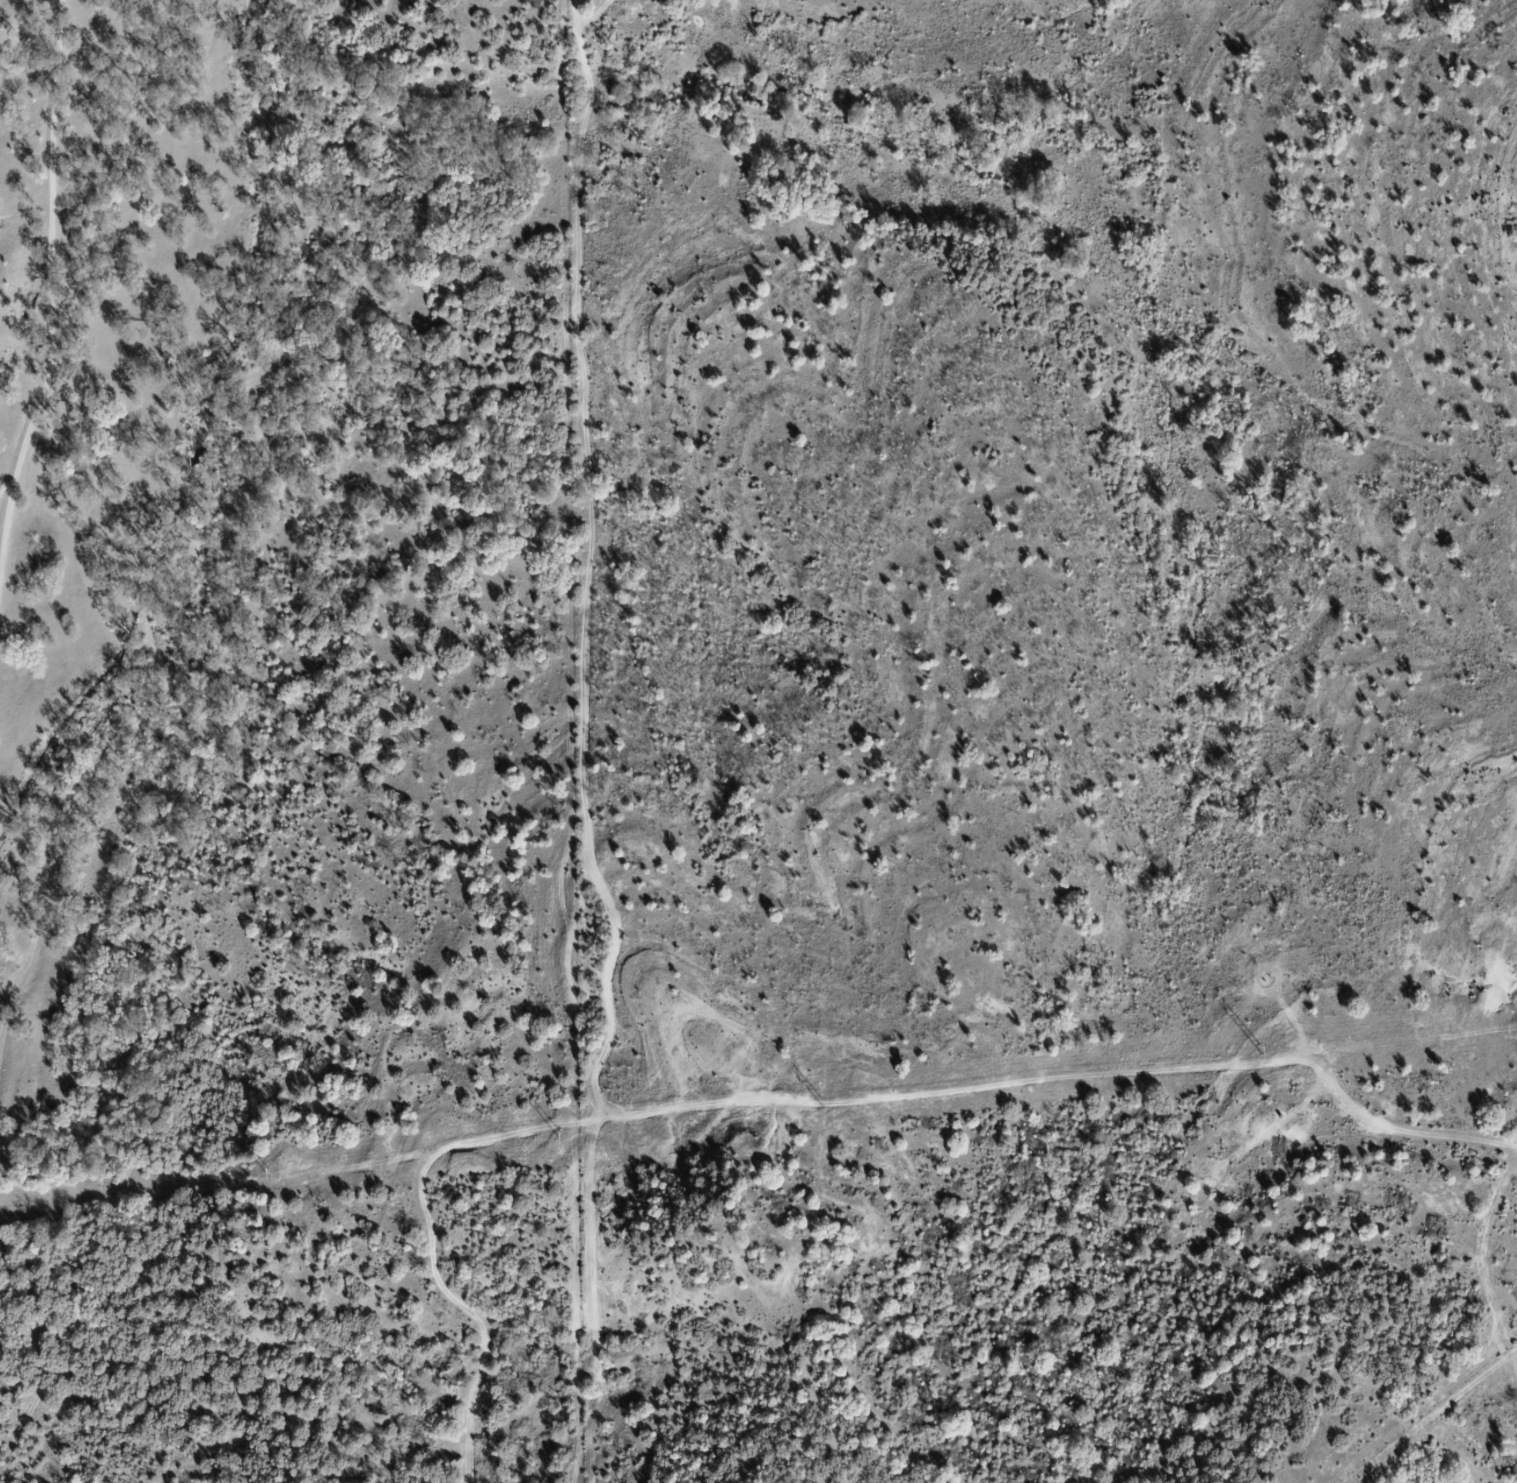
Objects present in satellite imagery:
road: (52, 306)
power tower: (1265, 1049)
power tower: (826, 1102)
power tower: (566, 1135)
power tower: (272, 1171)

